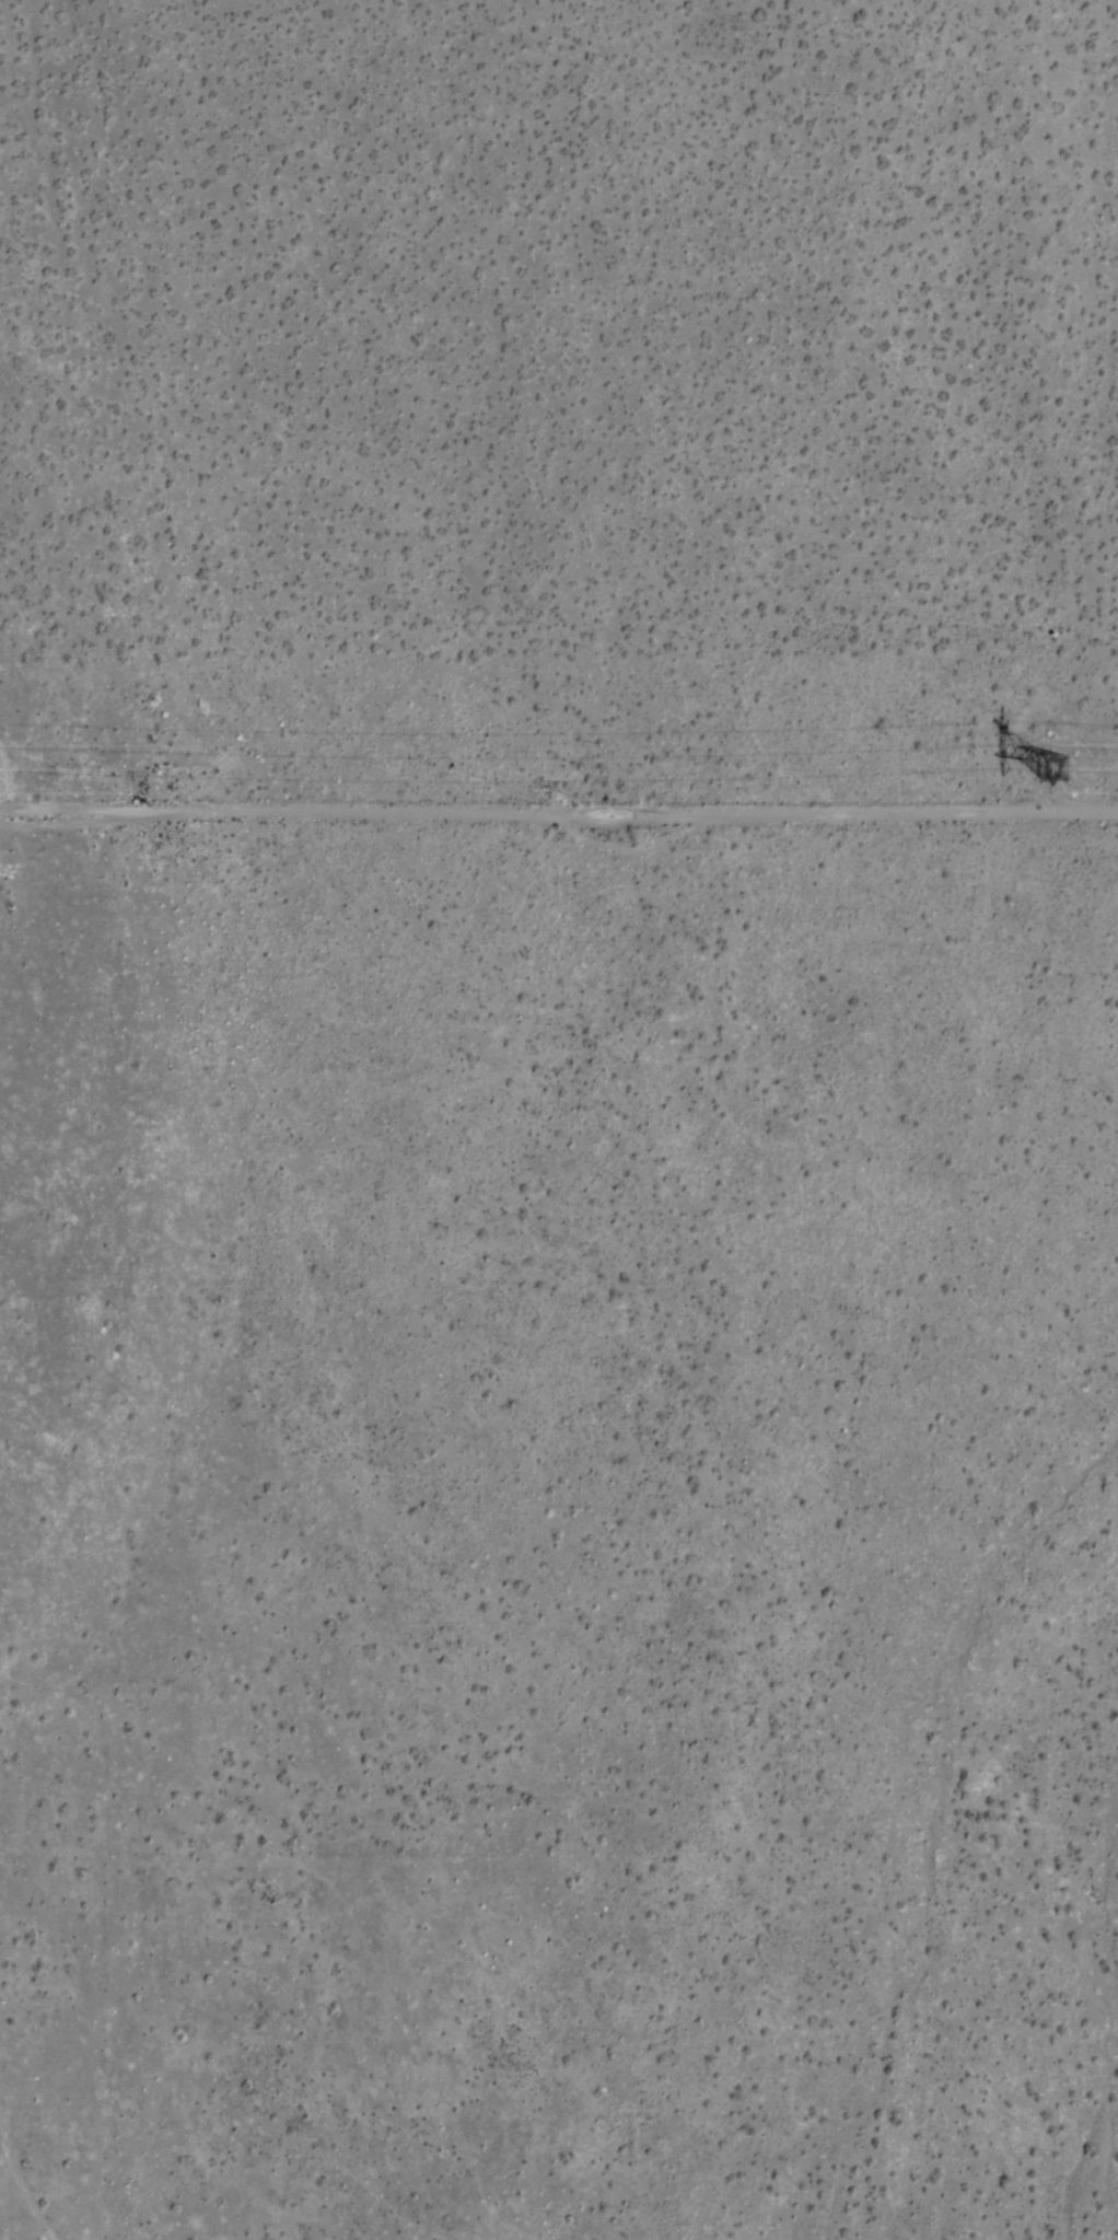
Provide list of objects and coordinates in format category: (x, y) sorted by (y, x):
power tower: (1069, 774)
road: (558, 816)
road: (21, 2183)

